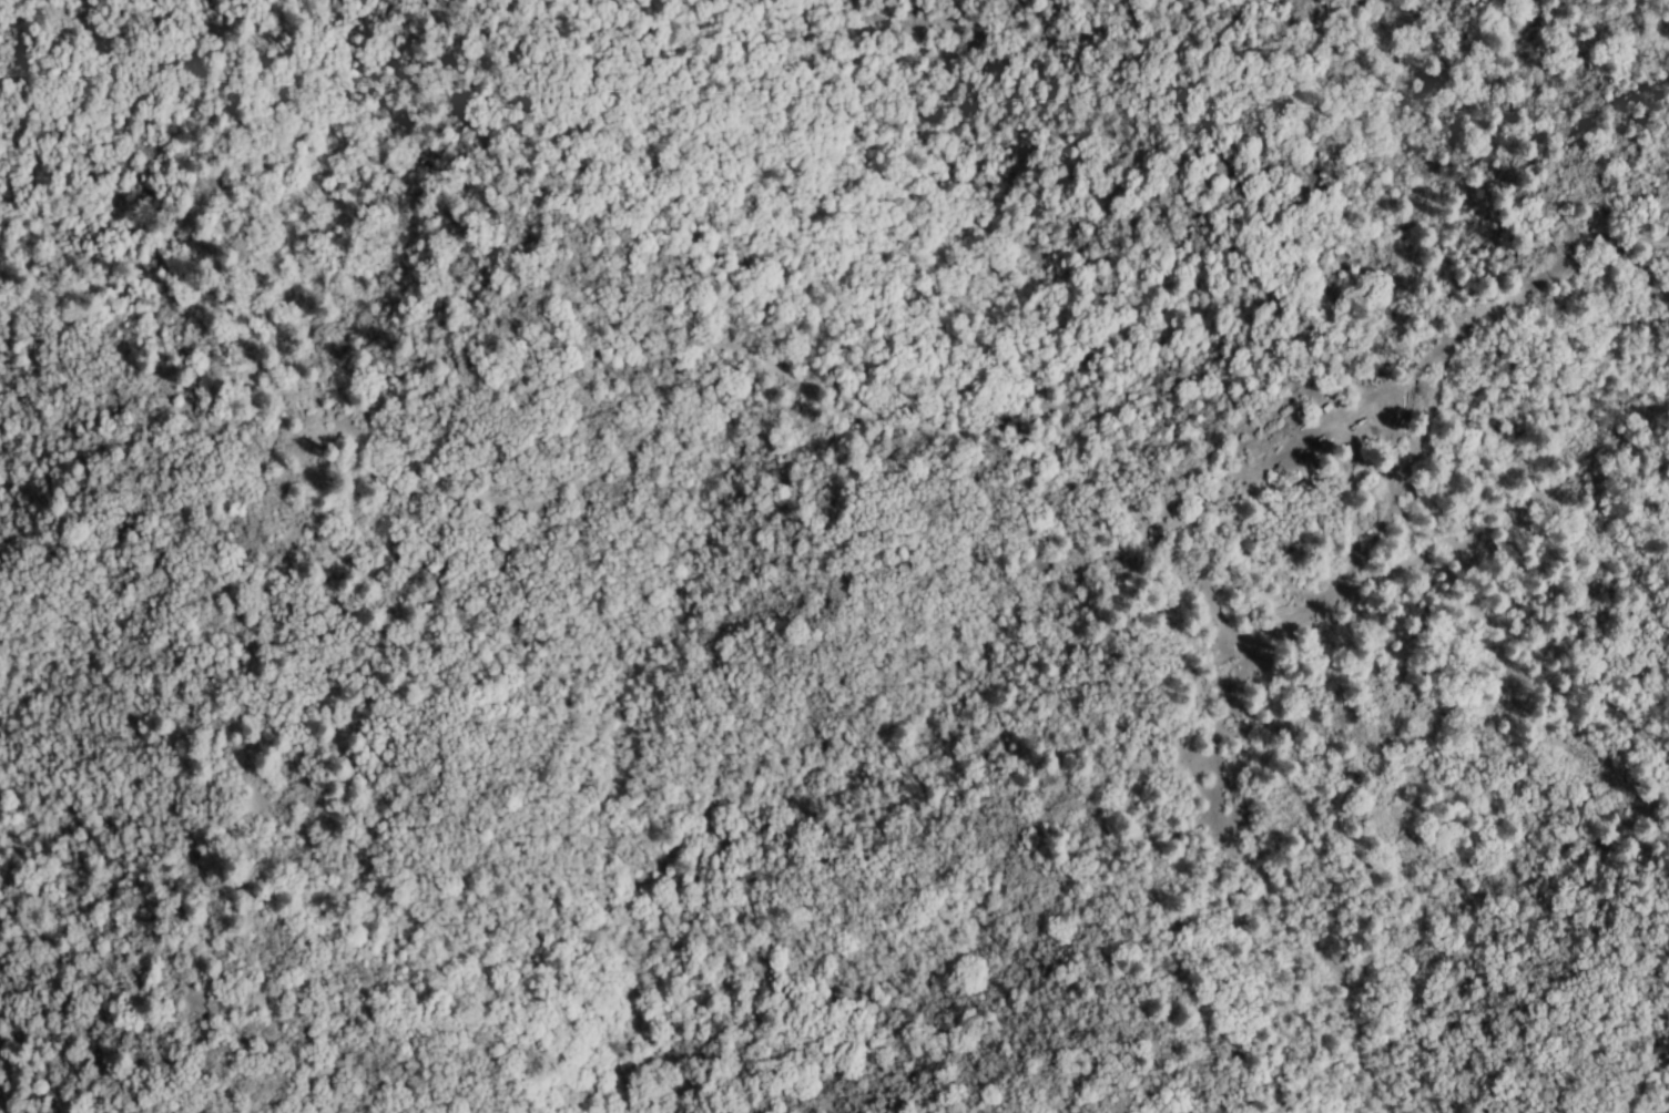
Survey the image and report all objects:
road: (1517, 285)

